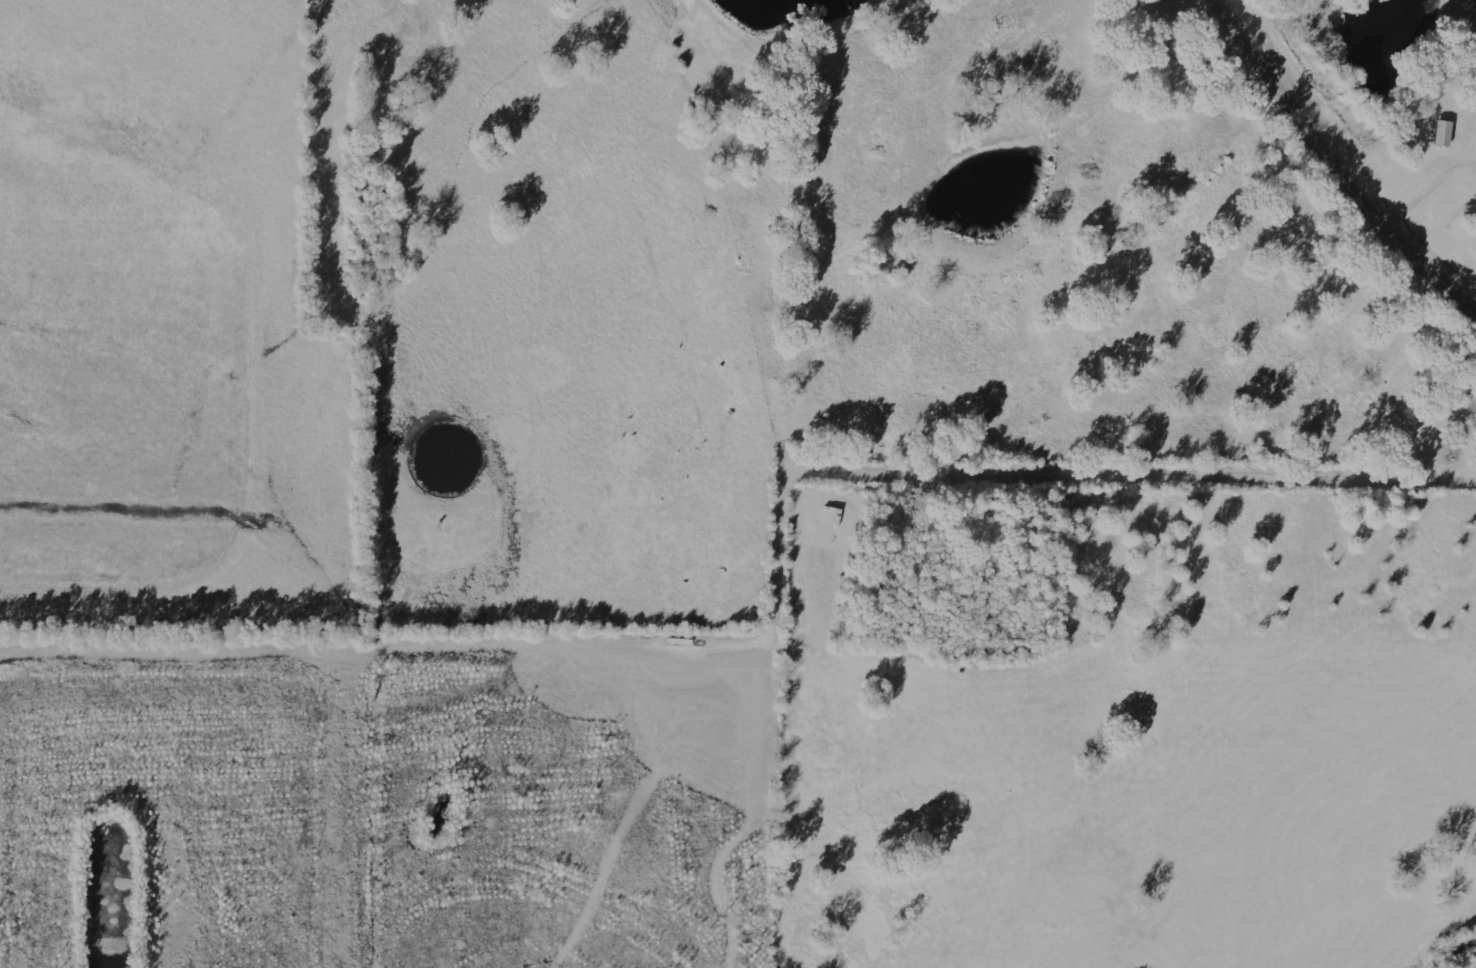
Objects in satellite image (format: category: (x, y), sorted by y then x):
road: (1329, 172)
road: (782, 605)

